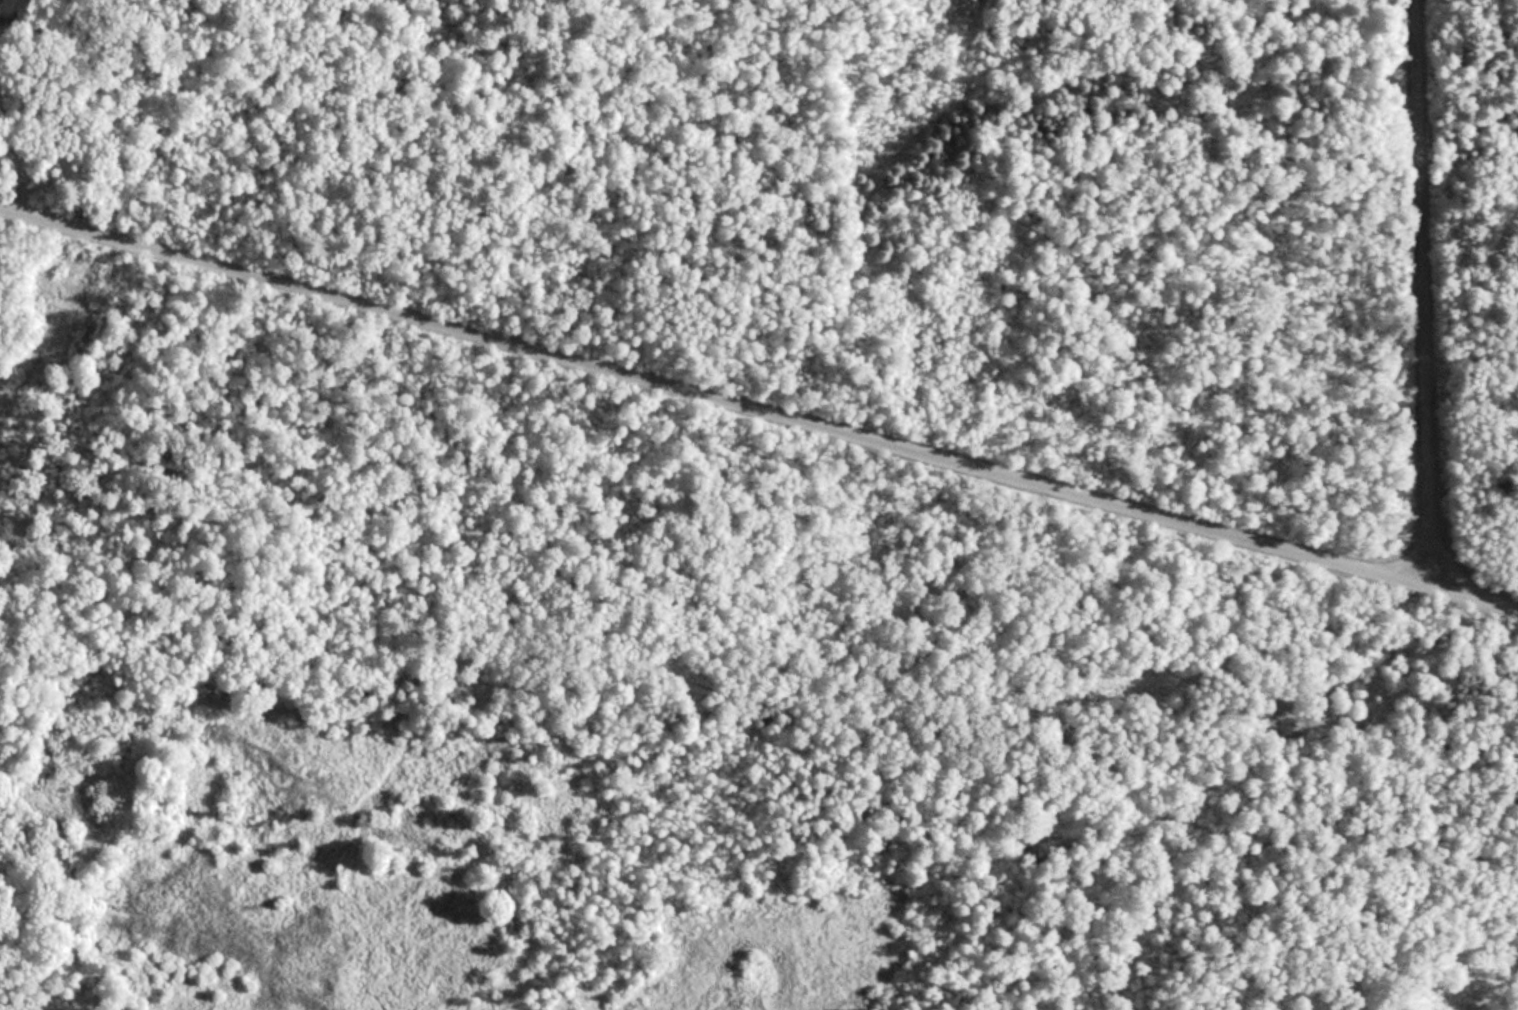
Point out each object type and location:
road: (1420, 291)
road: (758, 410)
park: (759, 505)

